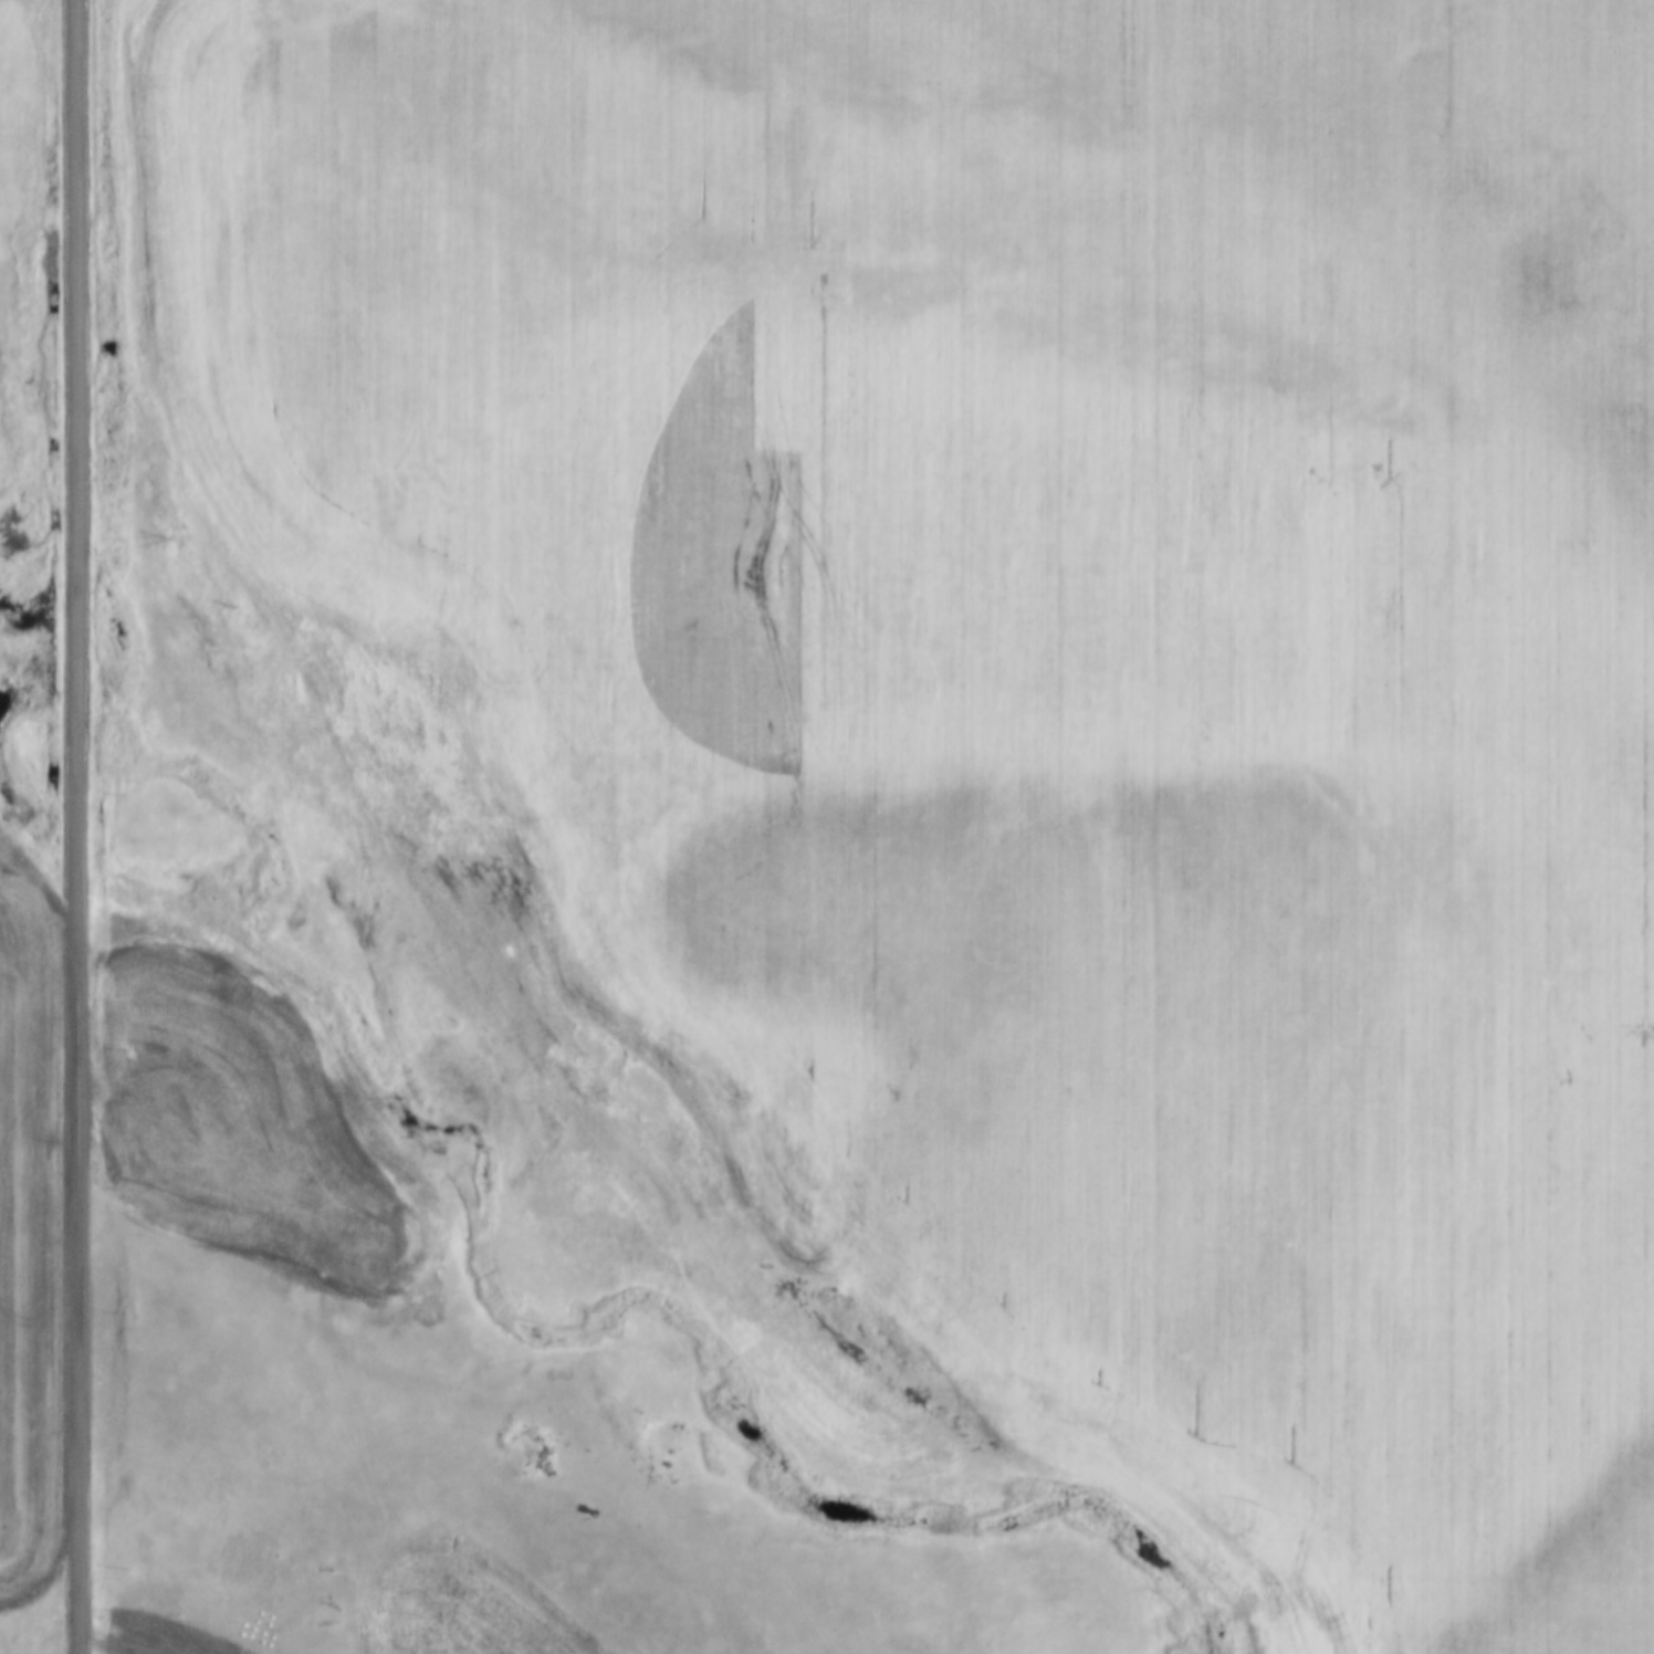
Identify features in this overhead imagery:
road: (77, 827)
road: (35, 867)

